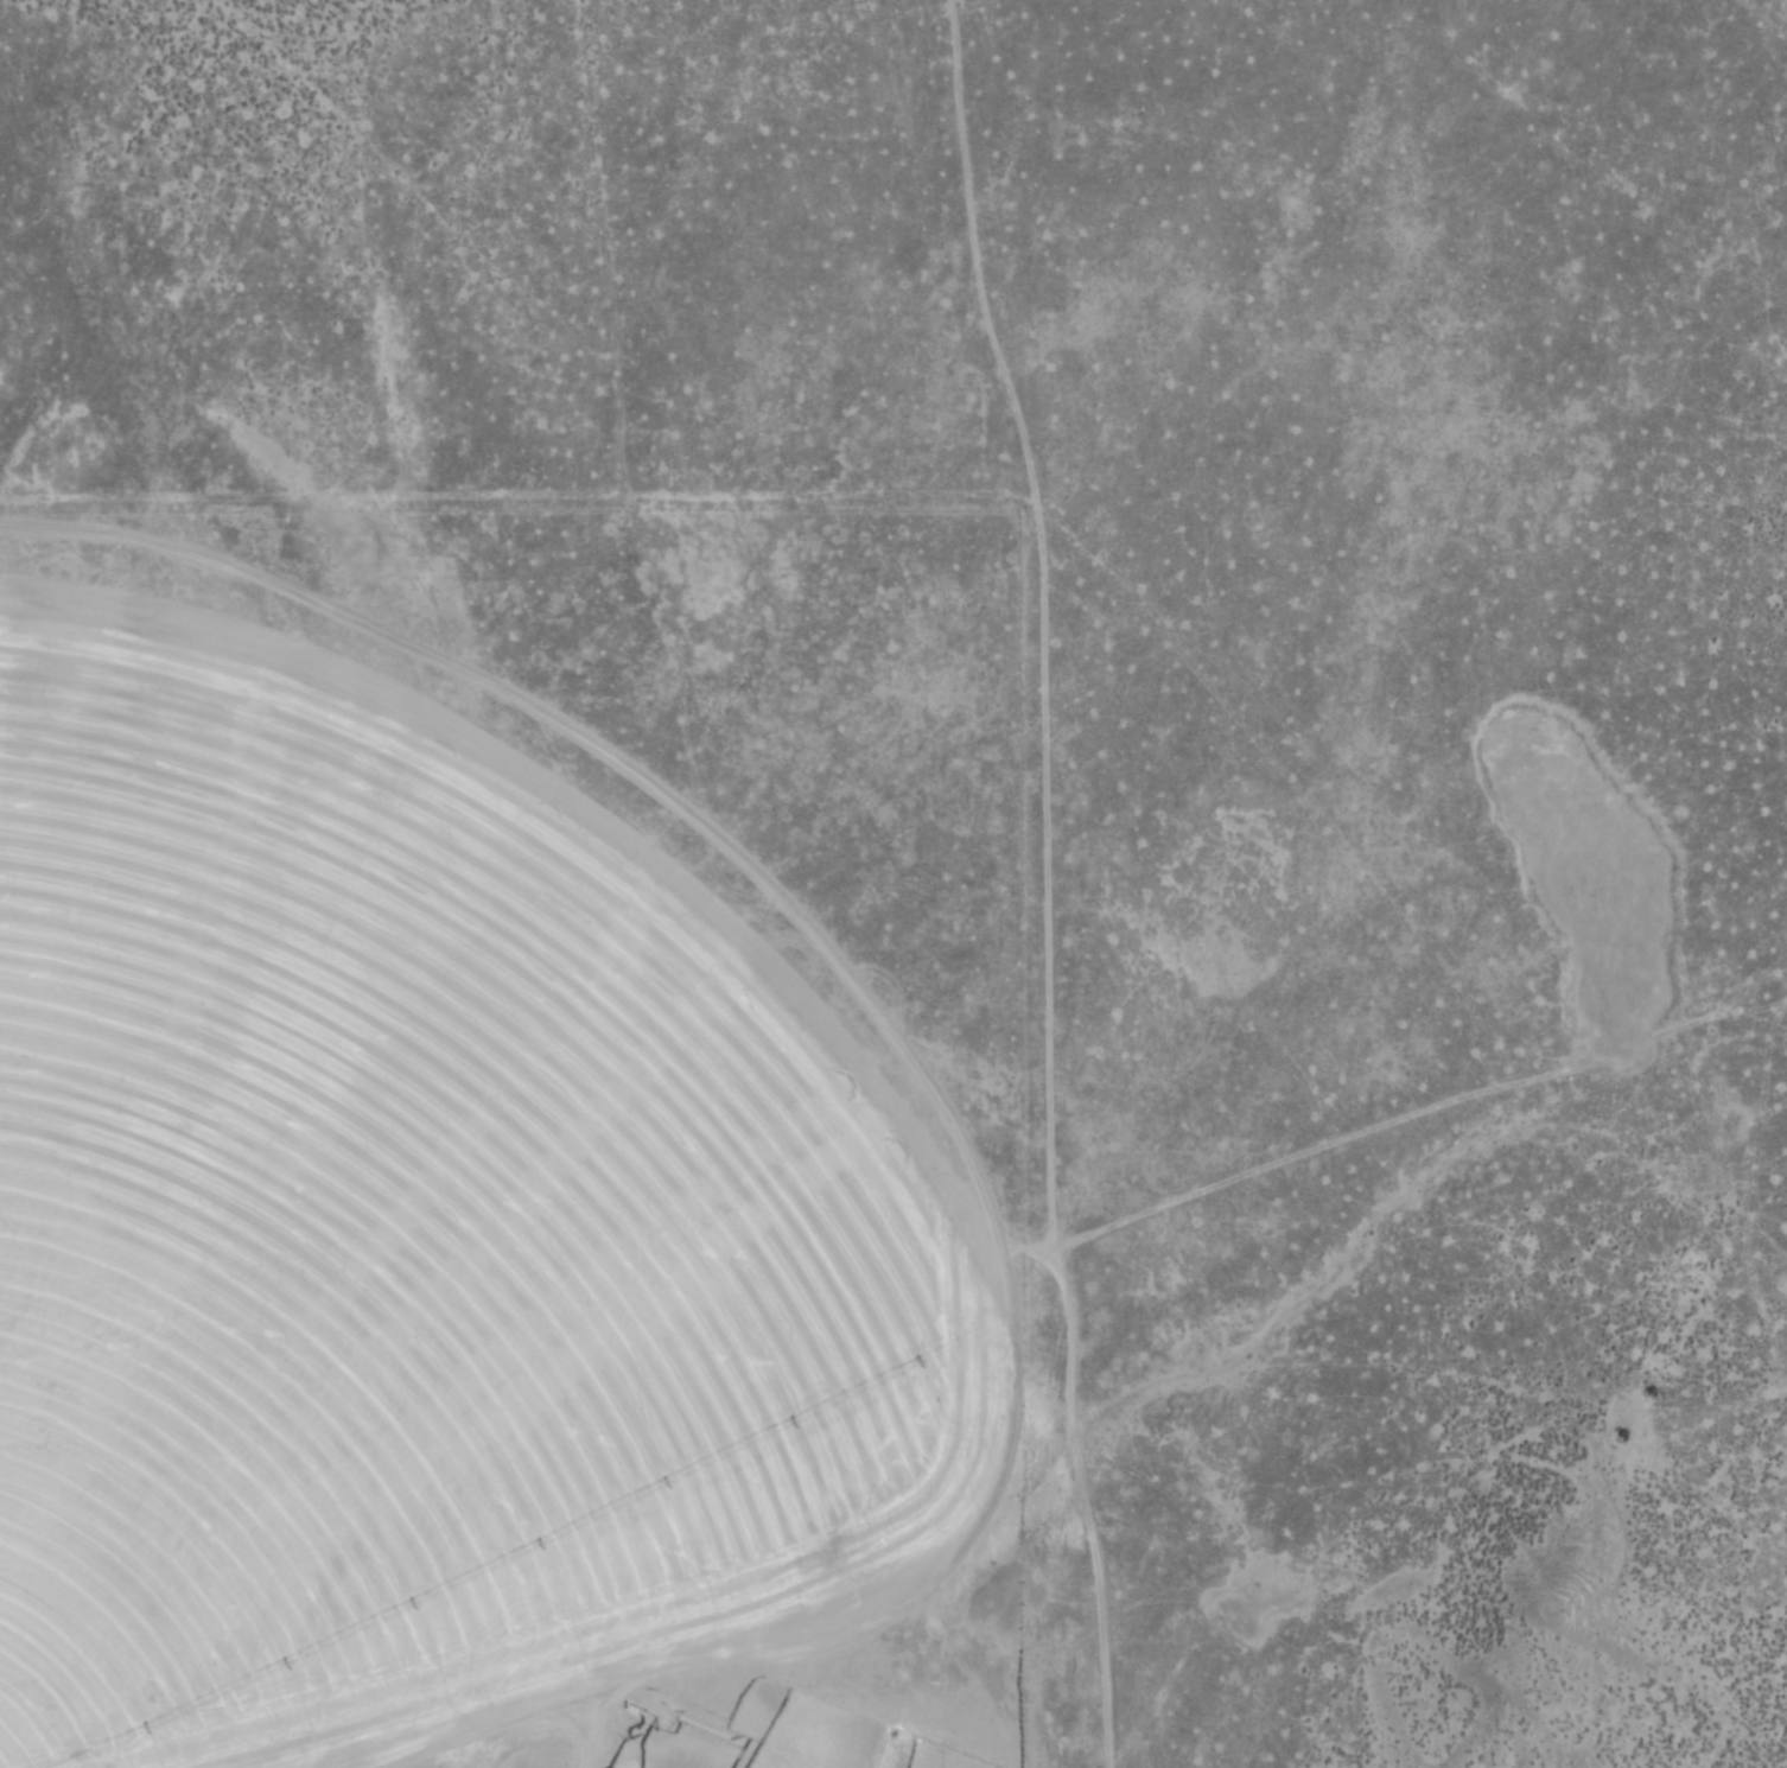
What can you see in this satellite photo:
road: (1081, 1486)
building: (604, 1767)

